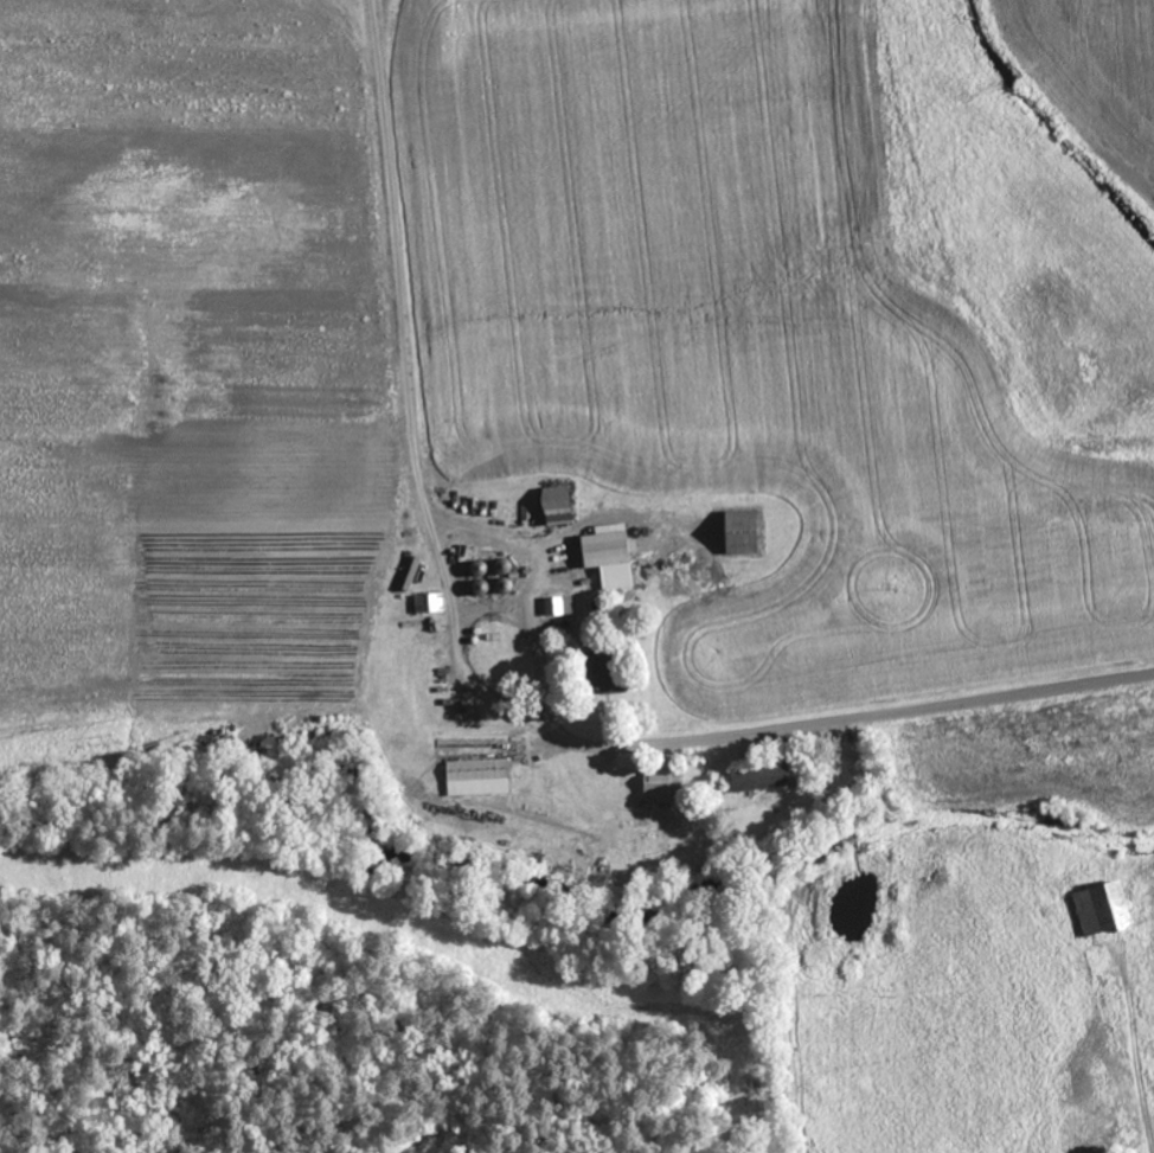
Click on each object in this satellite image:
building: (557, 506)
building: (741, 533)
building: (609, 556)
building: (430, 603)
building: (559, 607)
building: (607, 672)
road: (784, 730)
building: (479, 779)
building: (762, 779)
building: (658, 790)
building: (1102, 909)

